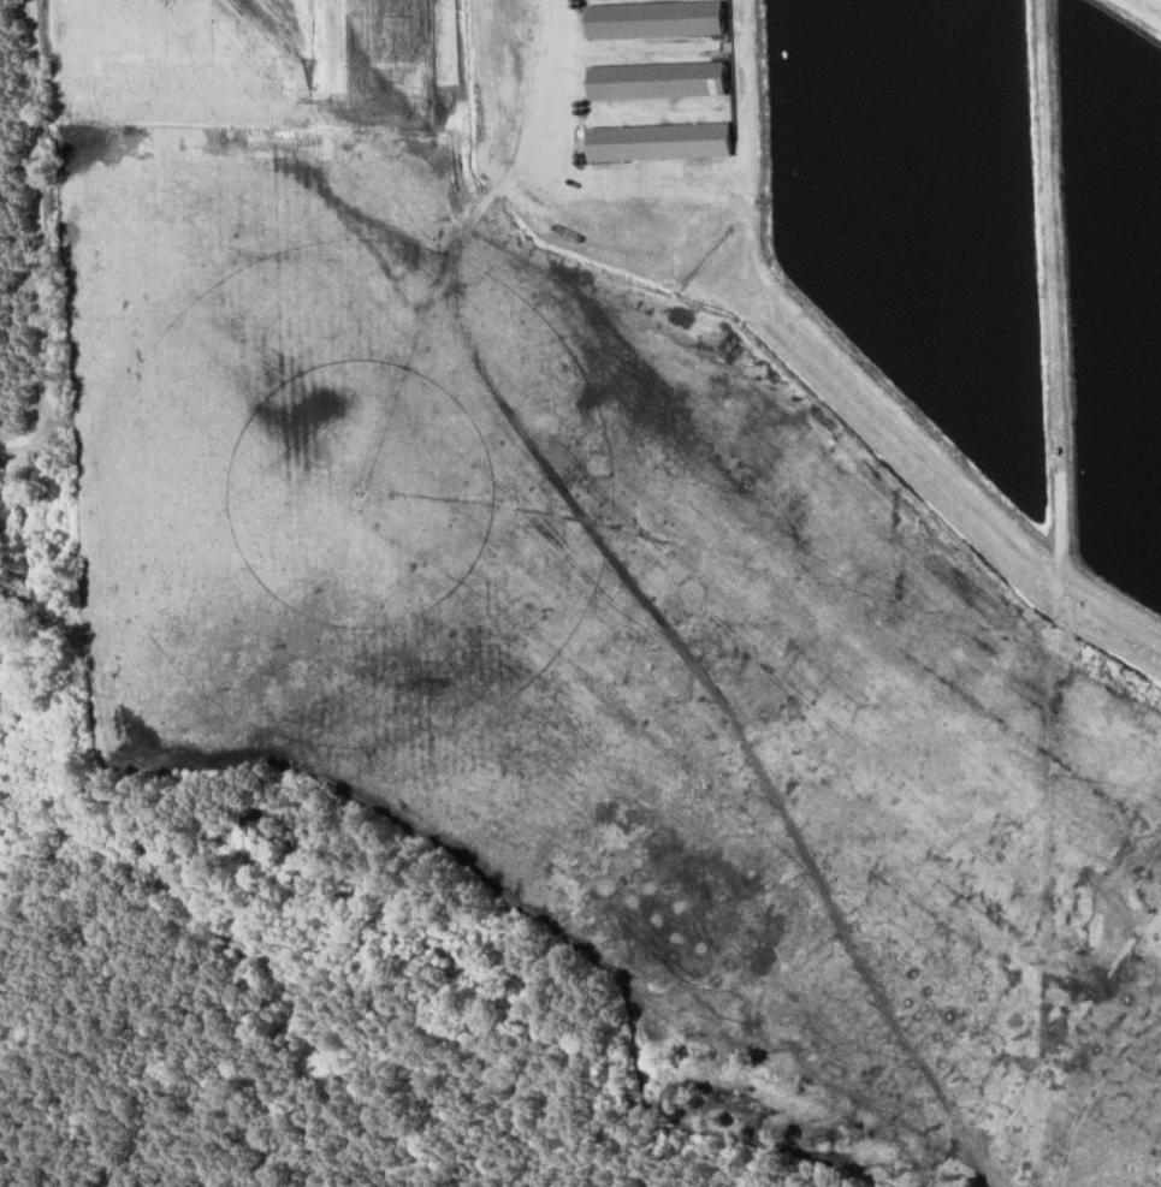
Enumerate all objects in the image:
building: (648, 19)
building: (651, 78)
road: (558, 81)
building: (656, 140)

